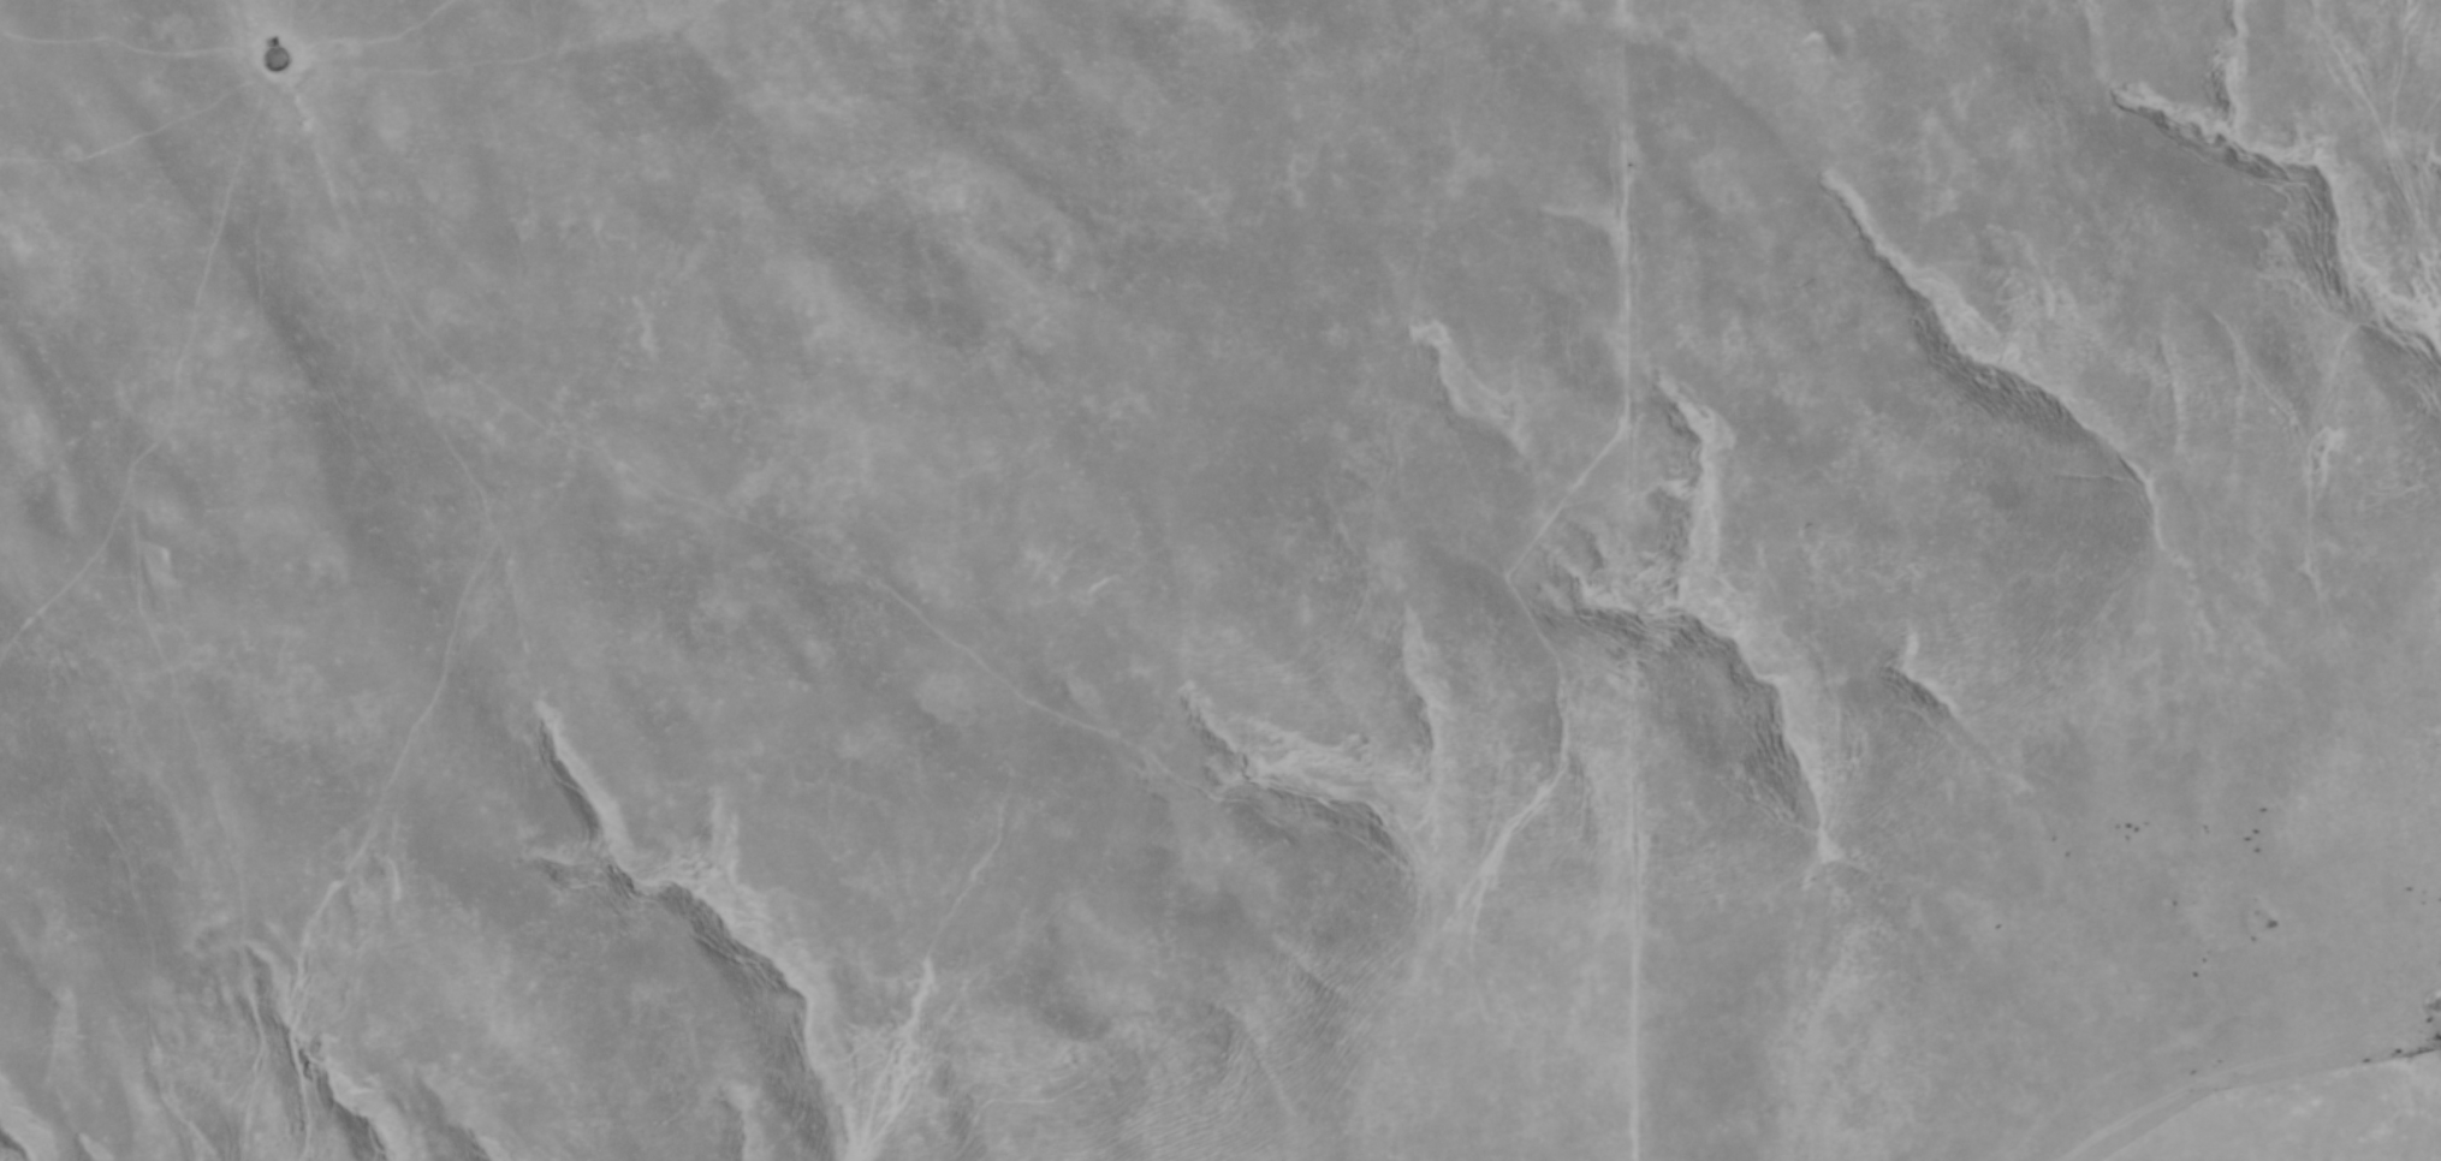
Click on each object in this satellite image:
road: (2270, 1070)

